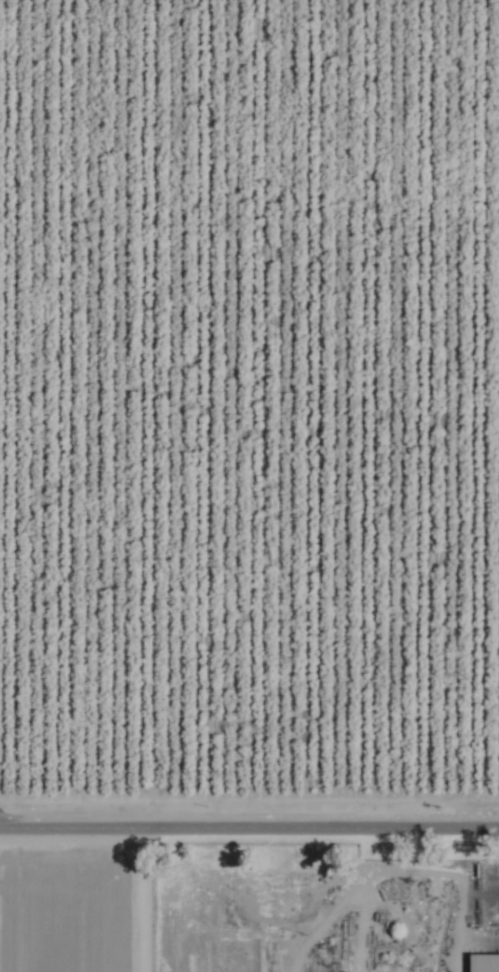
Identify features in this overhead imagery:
road: (249, 824)

